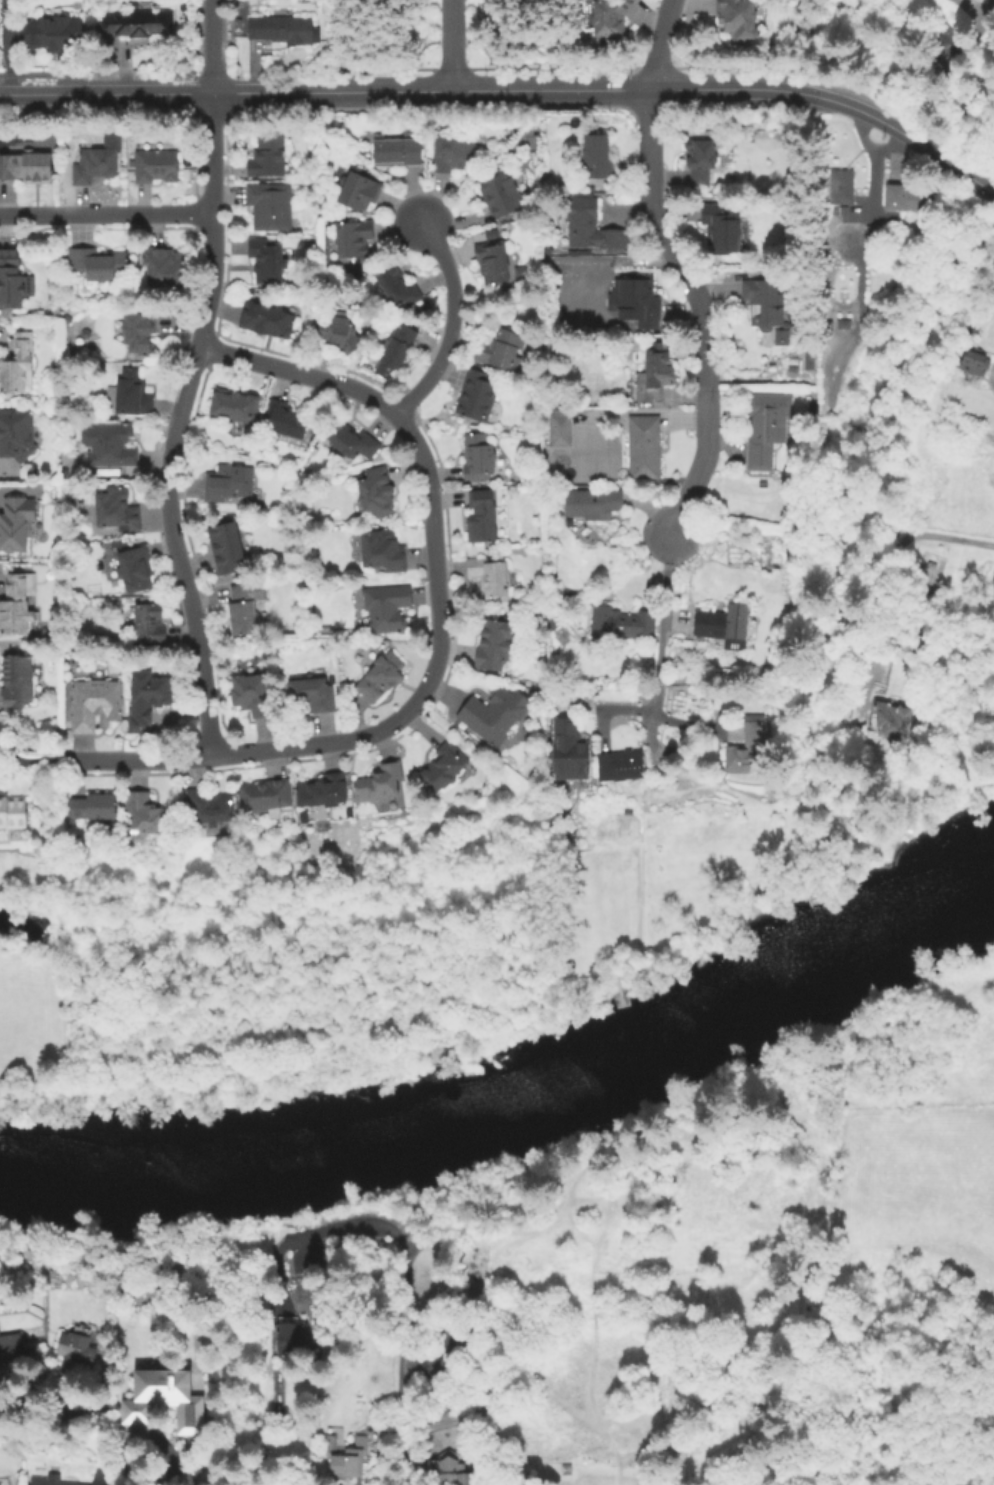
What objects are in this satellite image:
road: (975, 12)
building: (737, 19)
building: (611, 20)
building: (138, 24)
building: (281, 28)
building: (55, 35)
building: (936, 38)
road: (659, 44)
road: (450, 45)
road: (3, 46)
road: (208, 46)
road: (890, 58)
road: (585, 89)
road: (164, 92)
road: (919, 145)
building: (396, 151)
road: (211, 152)
building: (453, 153)
building: (268, 155)
building: (597, 156)
building: (699, 160)
building: (95, 165)
building: (156, 166)
building: (25, 169)
building: (842, 186)
building: (359, 191)
building: (501, 195)
building: (906, 198)
building: (270, 206)
road: (106, 214)
building: (721, 224)
building: (592, 227)
building: (873, 230)
building: (490, 233)
building: (352, 240)
building: (267, 261)
building: (492, 262)
building: (90, 266)
building: (164, 267)
building: (518, 273)
building: (10, 281)
building: (397, 287)
building: (764, 303)
building: (638, 304)
road: (700, 312)
building: (267, 320)
building: (845, 324)
road: (452, 325)
building: (140, 331)
building: (339, 332)
building: (779, 336)
building: (399, 345)
building: (502, 350)
building: (972, 363)
building: (16, 368)
building: (655, 372)
building: (130, 394)
building: (477, 396)
building: (236, 404)
building: (285, 420)
building: (766, 429)
building: (560, 430)
building: (600, 434)
building: (16, 438)
building: (351, 439)
building: (113, 447)
building: (643, 447)
building: (478, 458)
building: (557, 475)
road: (165, 483)
building: (225, 483)
building: (376, 492)
building: (71, 496)
building: (593, 503)
building: (117, 509)
building: (483, 519)
building: (15, 527)
road: (927, 537)
building: (115, 544)
building: (227, 546)
building: (383, 550)
building: (135, 568)
building: (490, 576)
building: (928, 579)
building: (18, 607)
building: (387, 607)
building: (243, 608)
building: (621, 623)
building: (722, 623)
building: (149, 624)
road: (663, 626)
building: (553, 627)
road: (439, 635)
building: (495, 644)
building: (381, 677)
building: (677, 680)
building: (16, 686)
building: (313, 692)
building: (252, 694)
building: (148, 699)
building: (95, 704)
building: (495, 714)
building: (892, 720)
building: (748, 750)
building: (568, 751)
road: (30, 761)
building: (617, 764)
building: (443, 766)
building: (381, 783)
building: (323, 791)
building: (264, 795)
building: (478, 795)
building: (95, 807)
building: (210, 807)
building: (147, 814)
building: (13, 817)
building: (202, 834)
river: (947, 898)
park: (315, 963)
river: (468, 1115)
road: (386, 1227)
building: (292, 1335)
building: (10, 1347)
building: (76, 1352)
building: (160, 1390)
road: (403, 1422)
building: (331, 1442)
building: (350, 1459)
building: (566, 1469)
building: (448, 1473)
building: (49, 1480)

